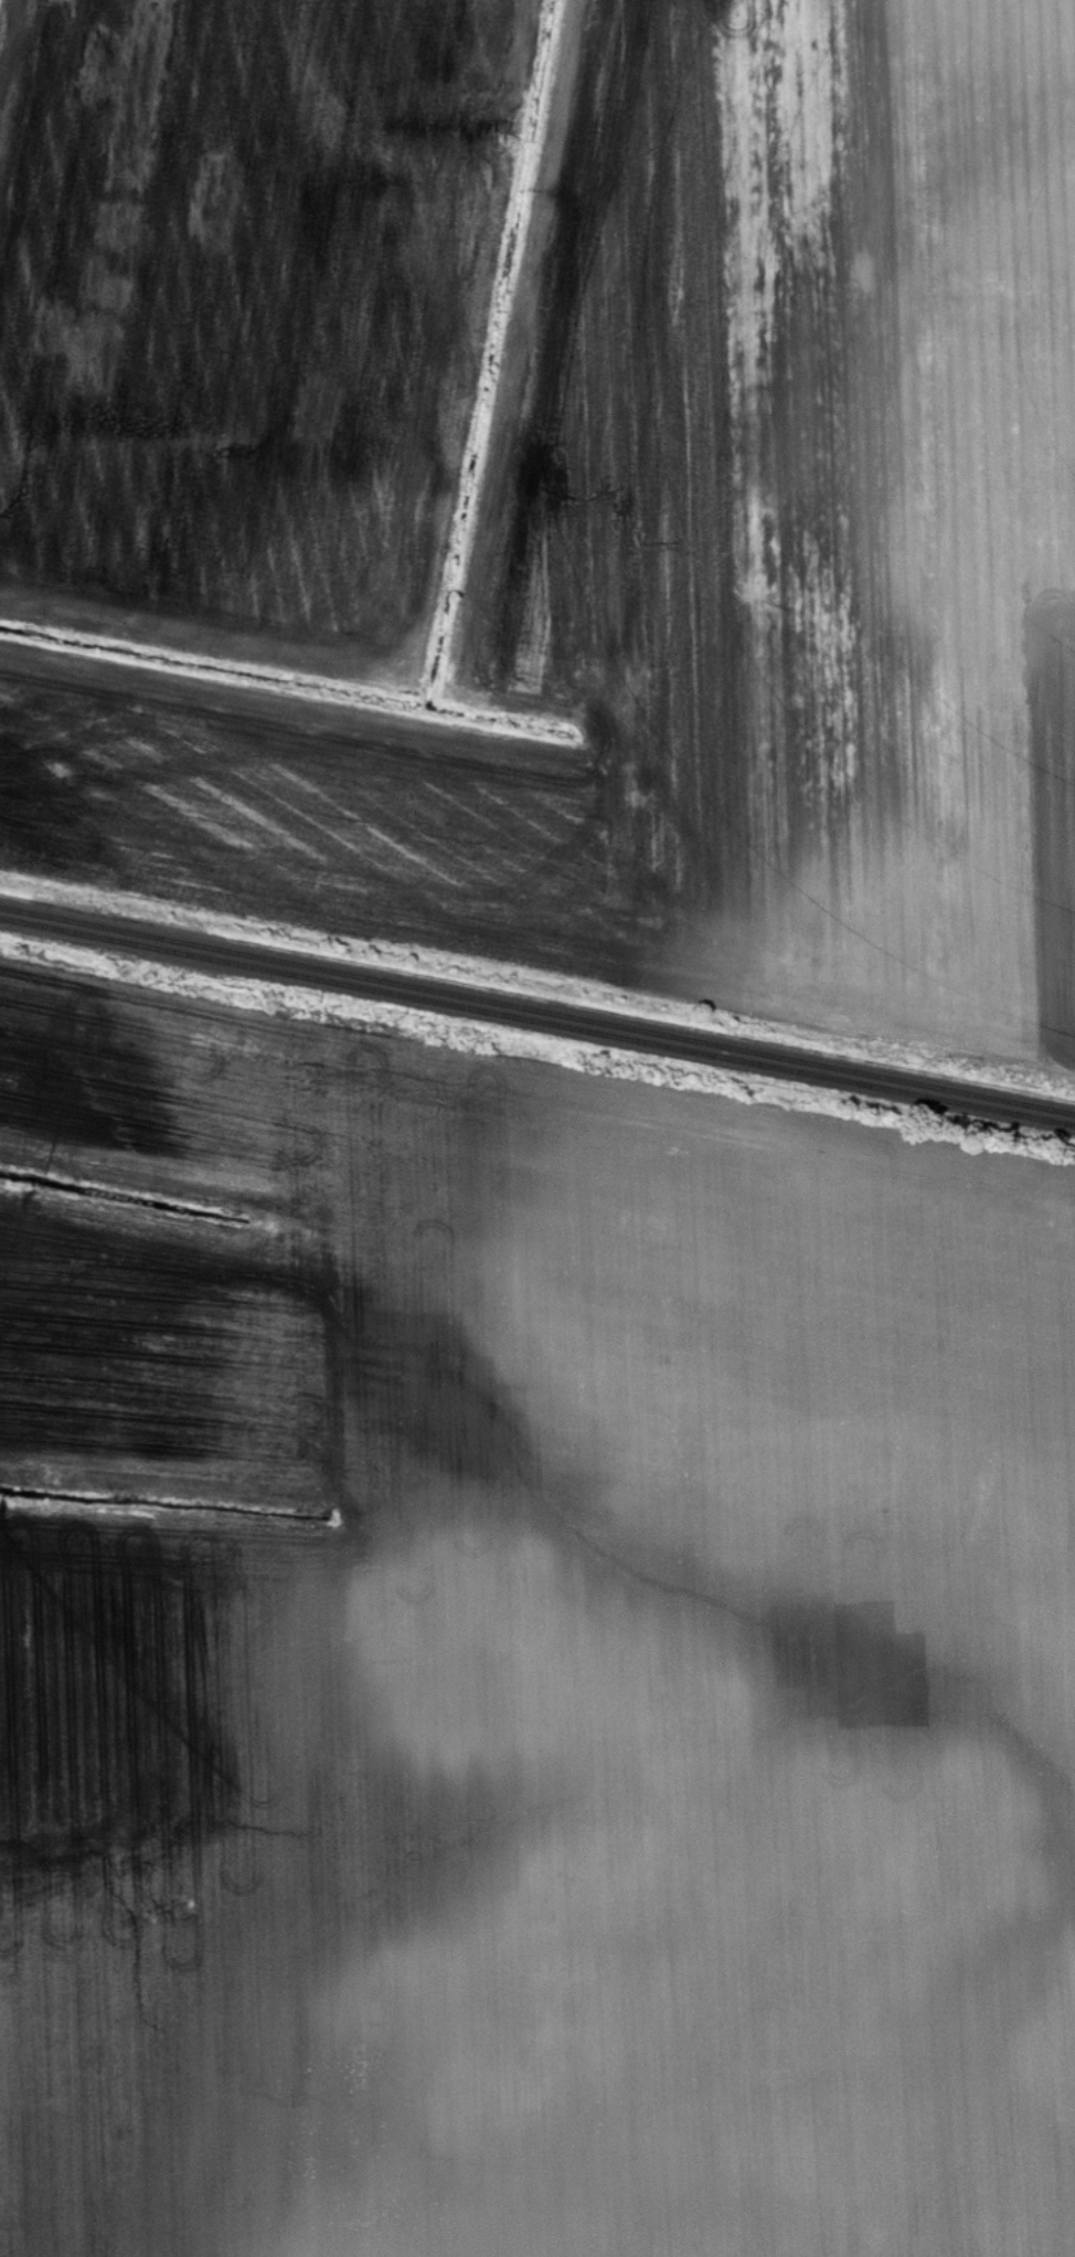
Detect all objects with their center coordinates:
railway: (257, 956)
railway: (256, 966)
railway: (795, 1060)
railway: (794, 1071)

